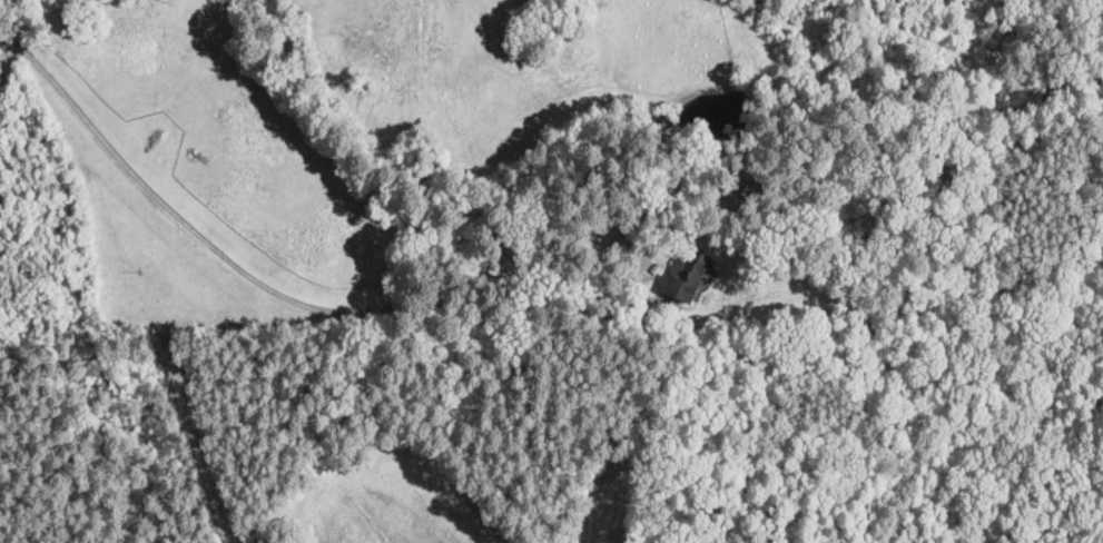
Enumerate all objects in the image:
crop: (1, 50)
building: (752, 191)
building: (687, 276)
road: (270, 289)

